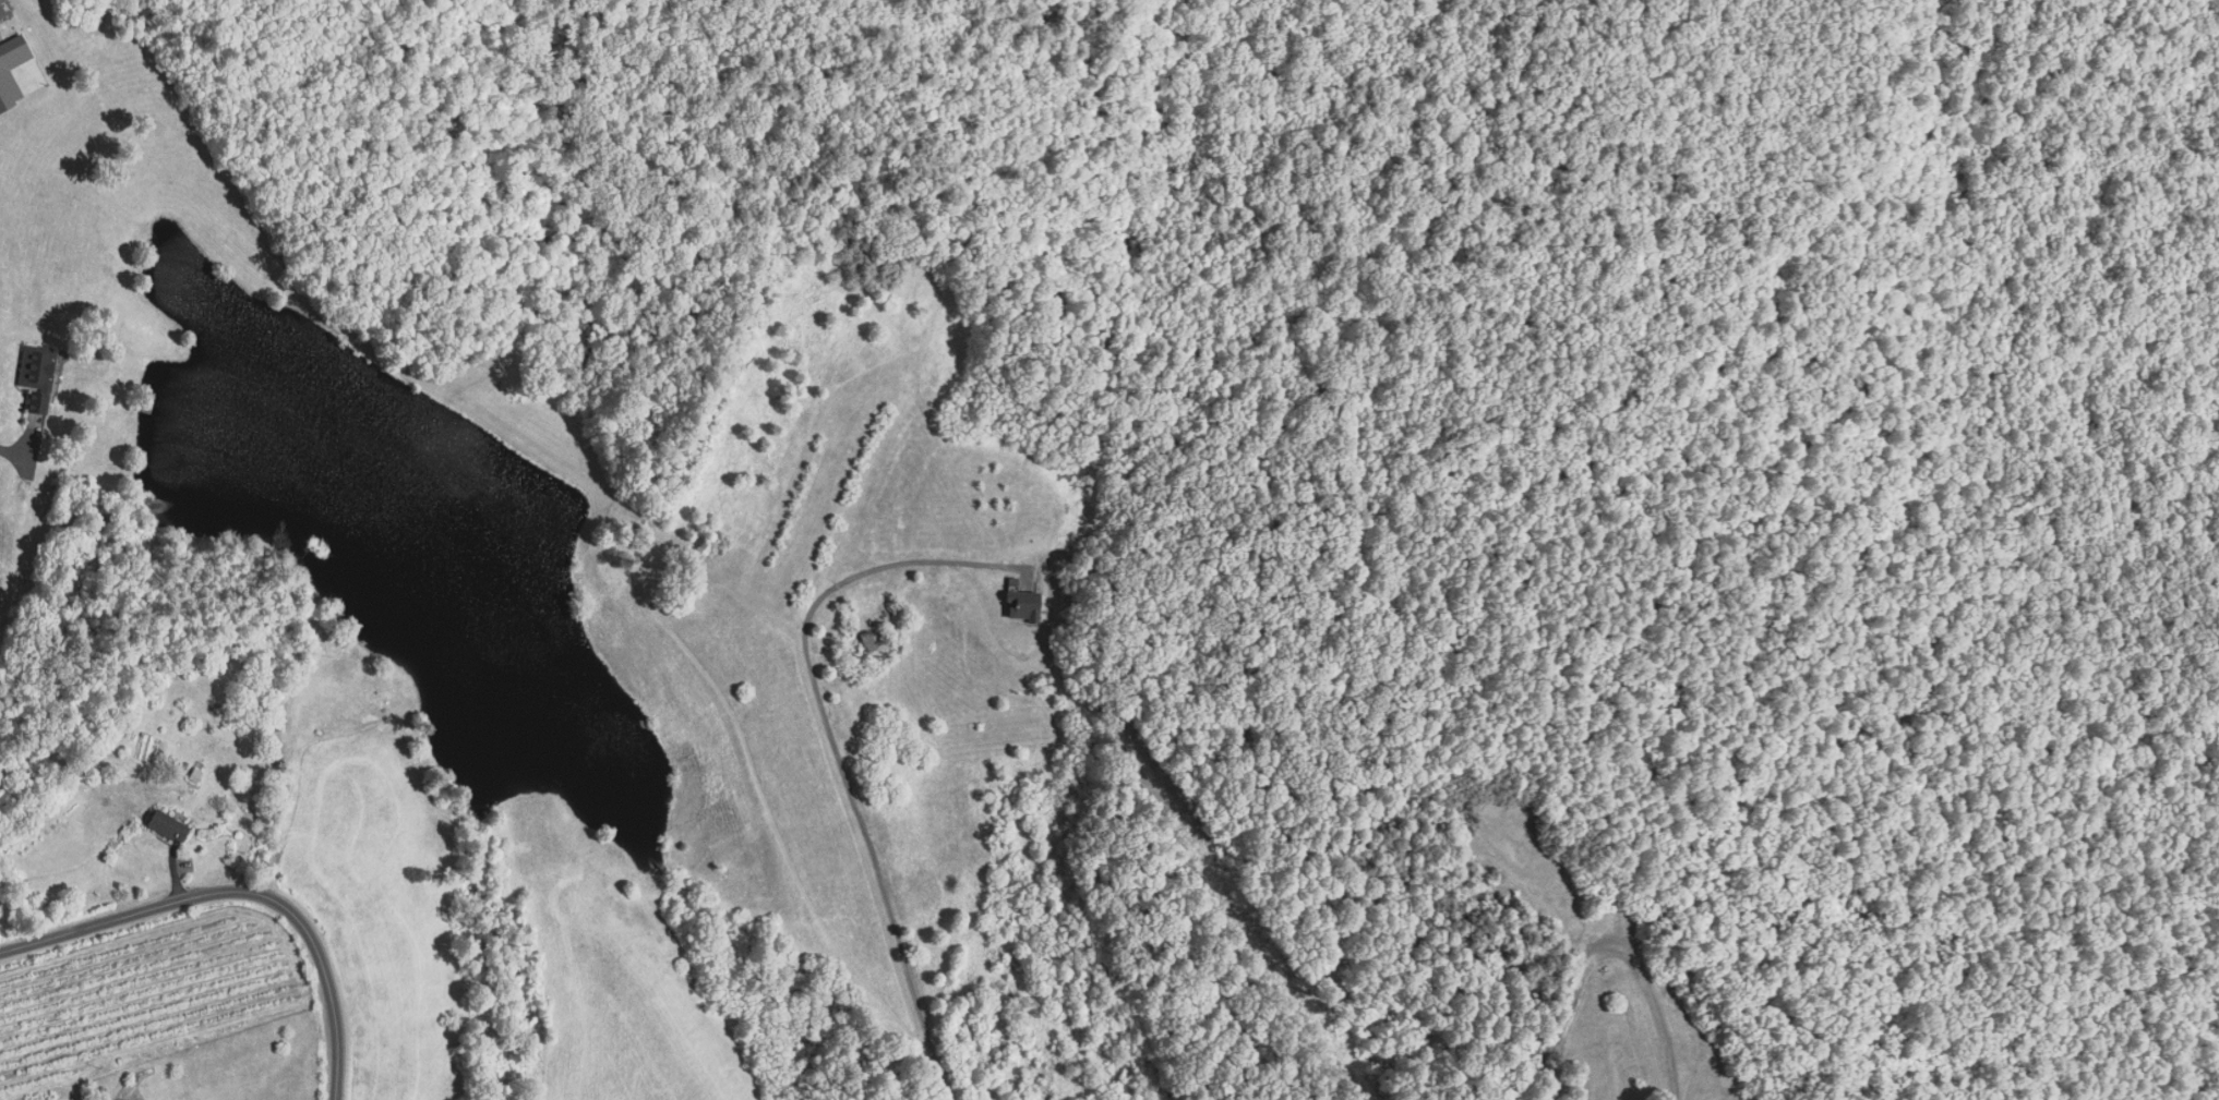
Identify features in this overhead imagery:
building: (7, 82)
building: (39, 373)
road: (15, 455)
building: (1025, 604)
building: (866, 640)
road: (836, 751)
building: (195, 774)
building: (168, 824)
road: (243, 891)
road: (1604, 950)

